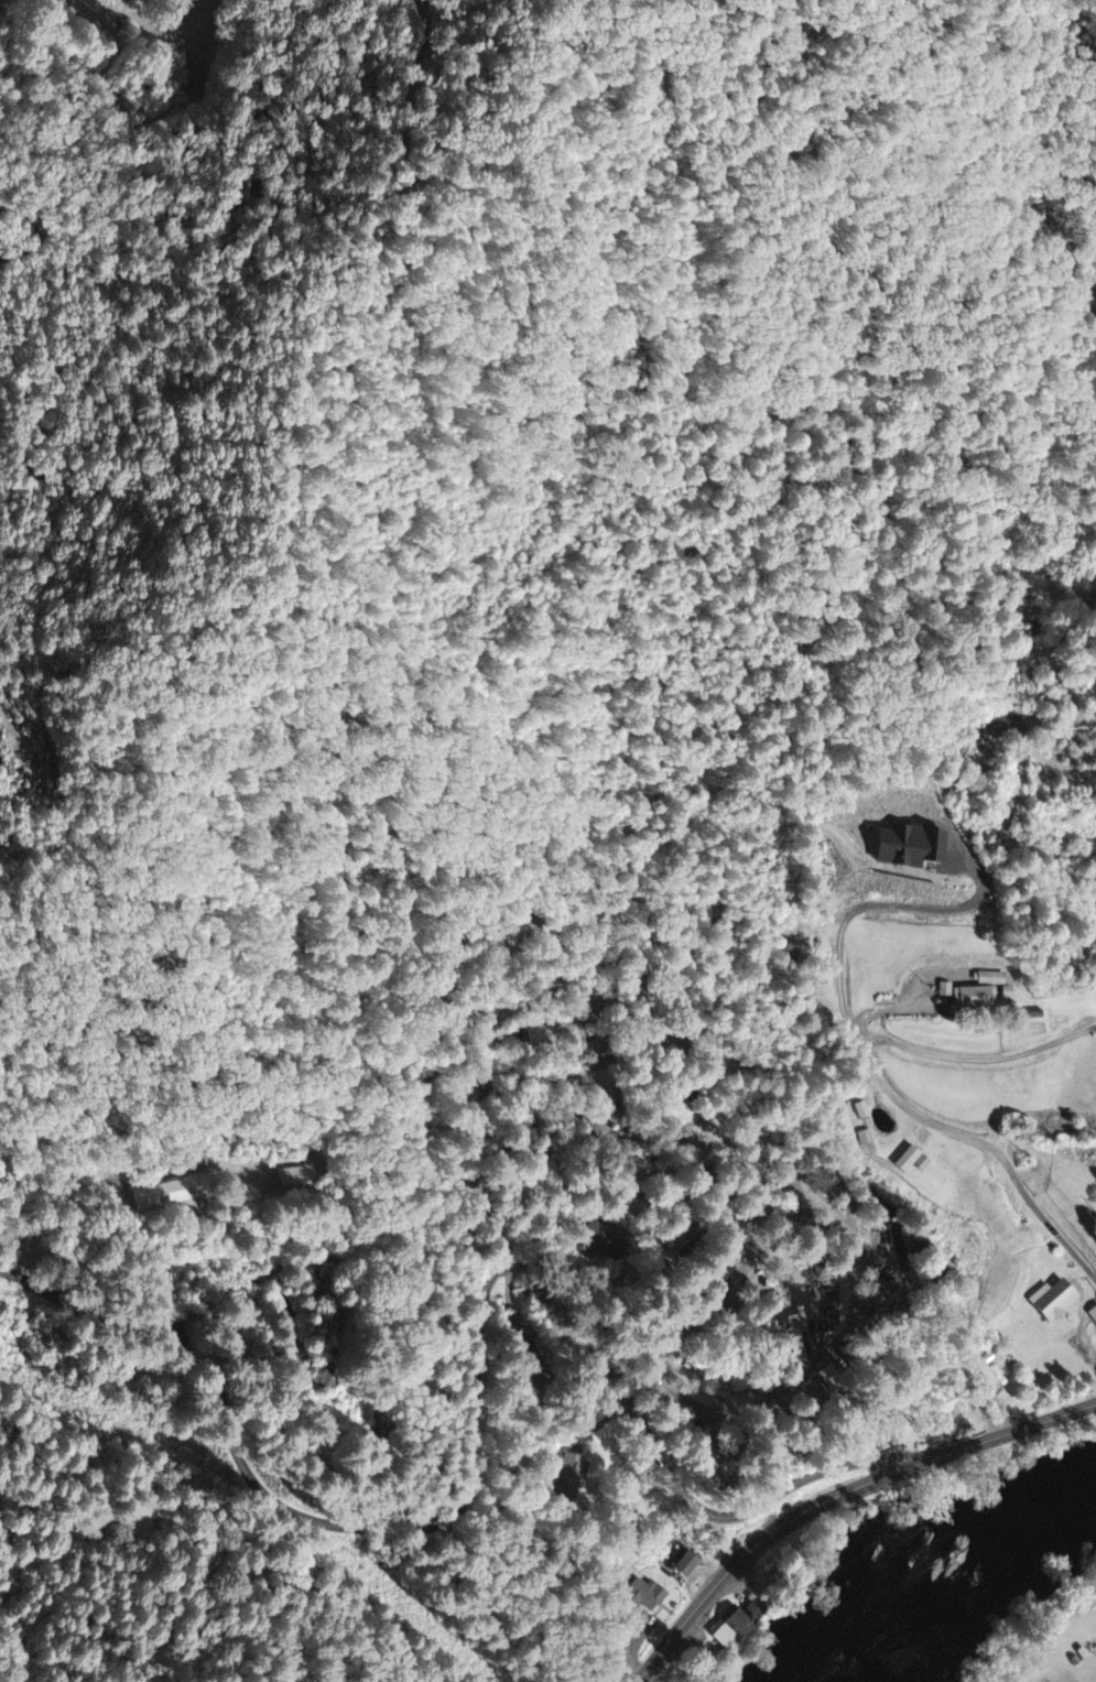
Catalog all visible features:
road: (1008, 827)
building: (918, 846)
building: (949, 990)
building: (983, 997)
road: (888, 1086)
building: (868, 1139)
building: (915, 1161)
building: (296, 1178)
building: (175, 1194)
building: (604, 1244)
building: (1059, 1301)
building: (1094, 1315)
road: (294, 1325)
building: (800, 1325)
building: (991, 1372)
building: (317, 1378)
building: (837, 1381)
road: (476, 1395)
building: (573, 1477)
road: (837, 1497)
building: (693, 1565)
river: (940, 1571)
building: (641, 1596)
building: (740, 1626)

